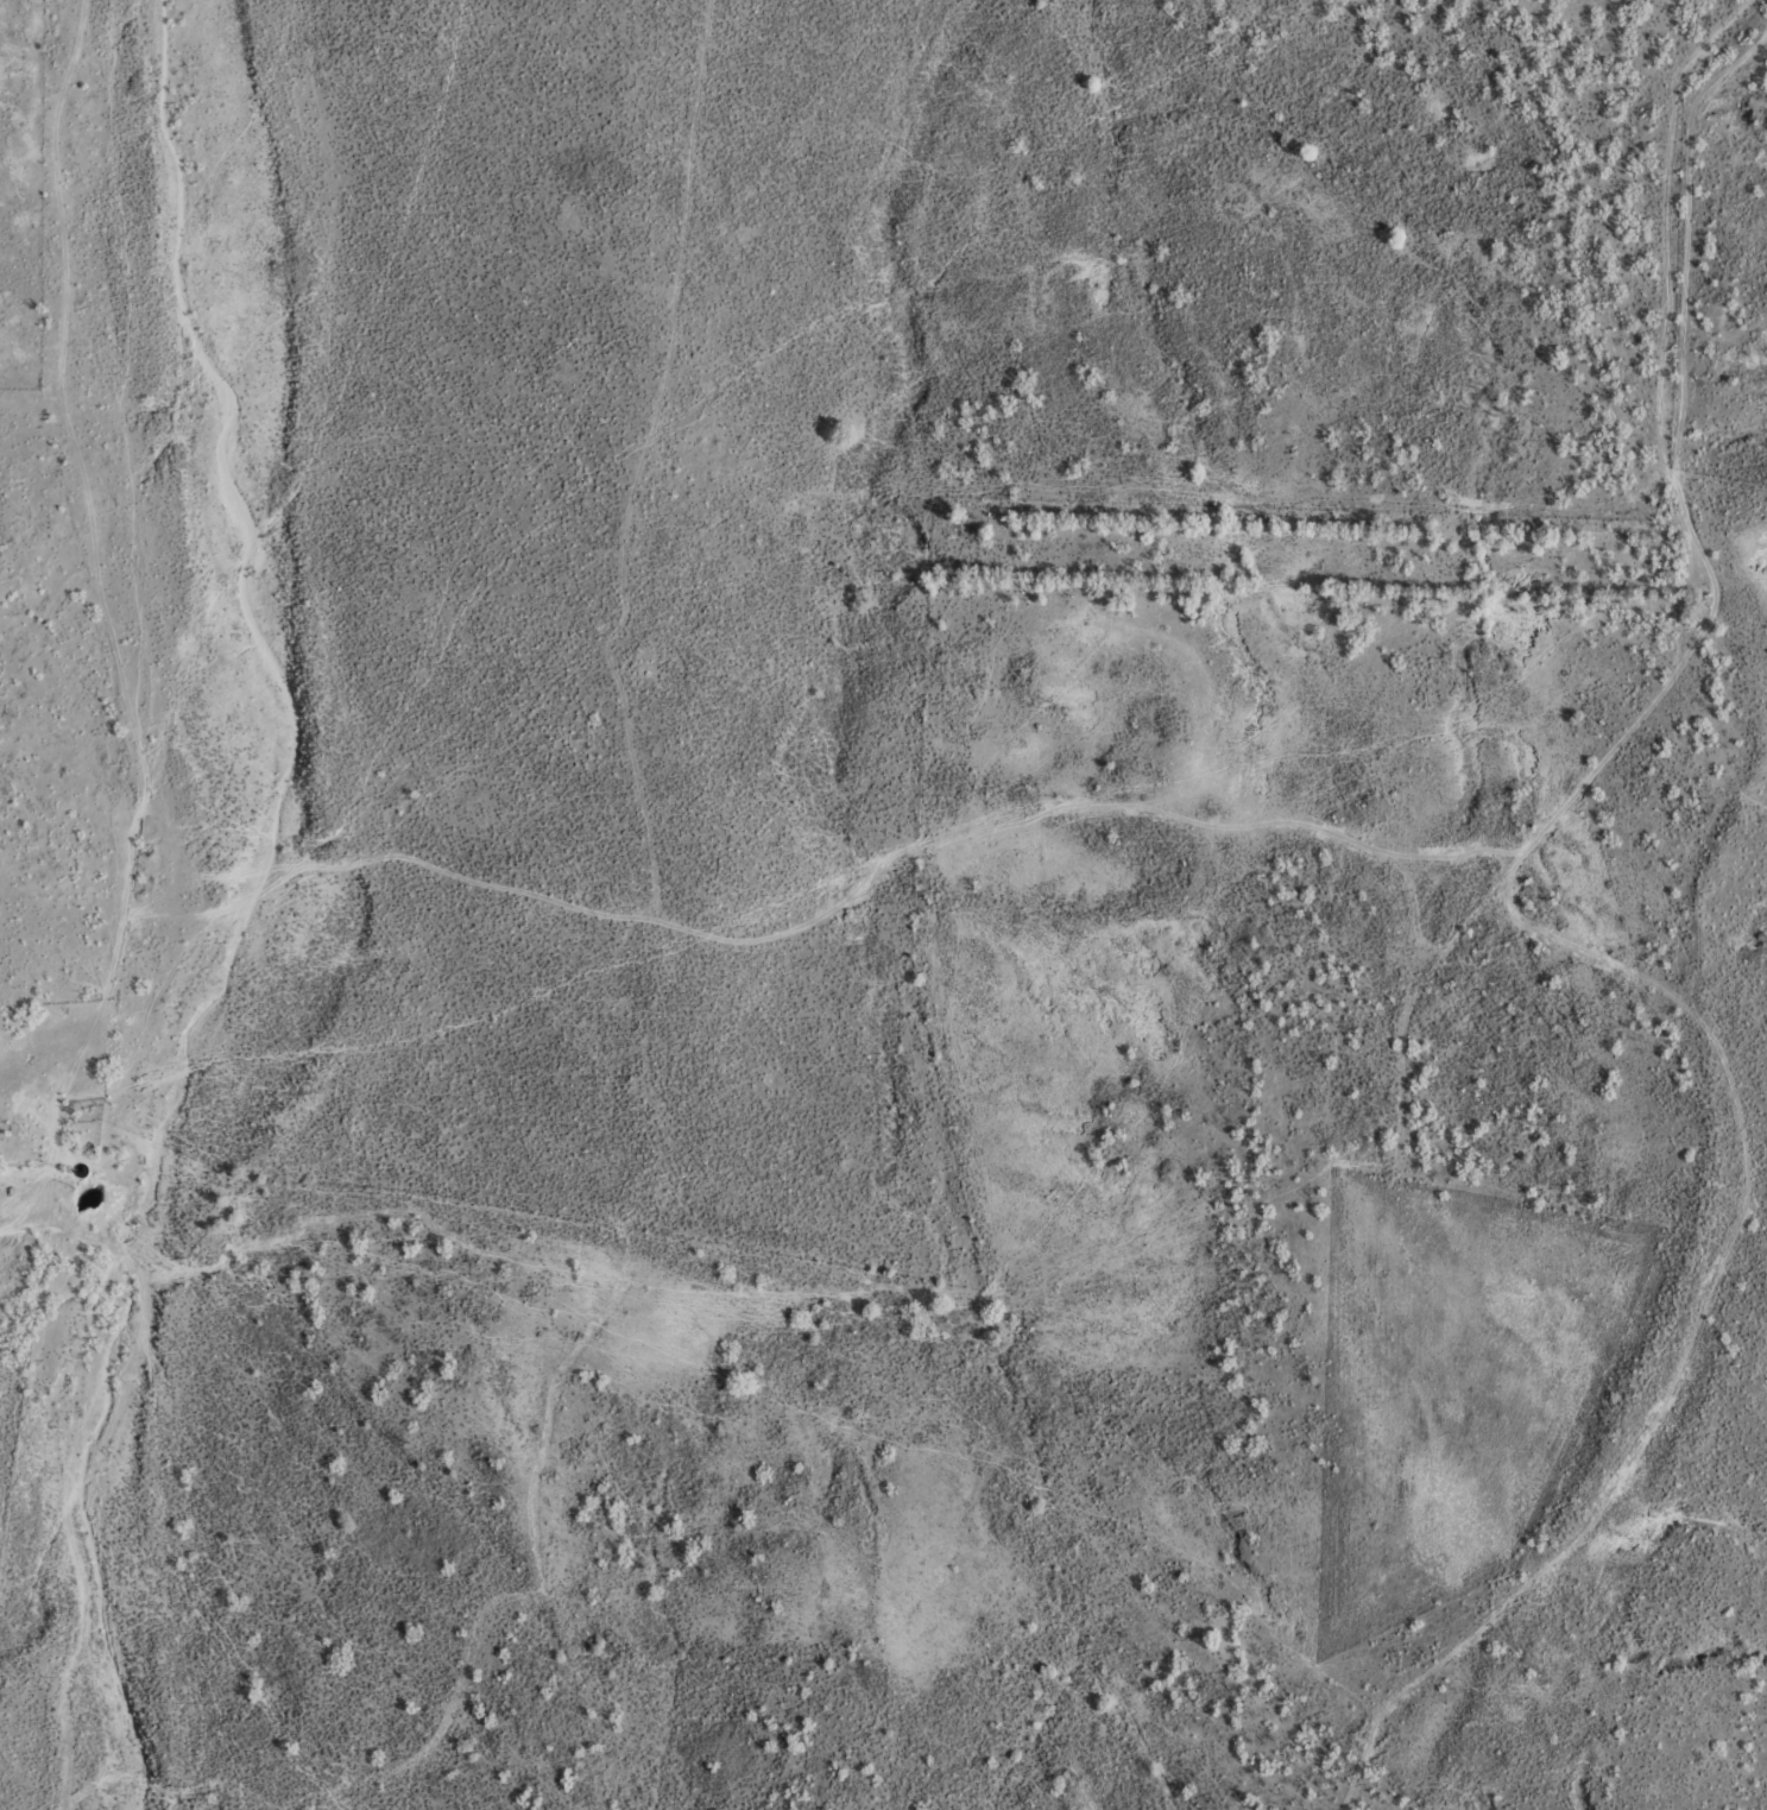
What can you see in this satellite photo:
road: (128, 616)
road: (1507, 882)

